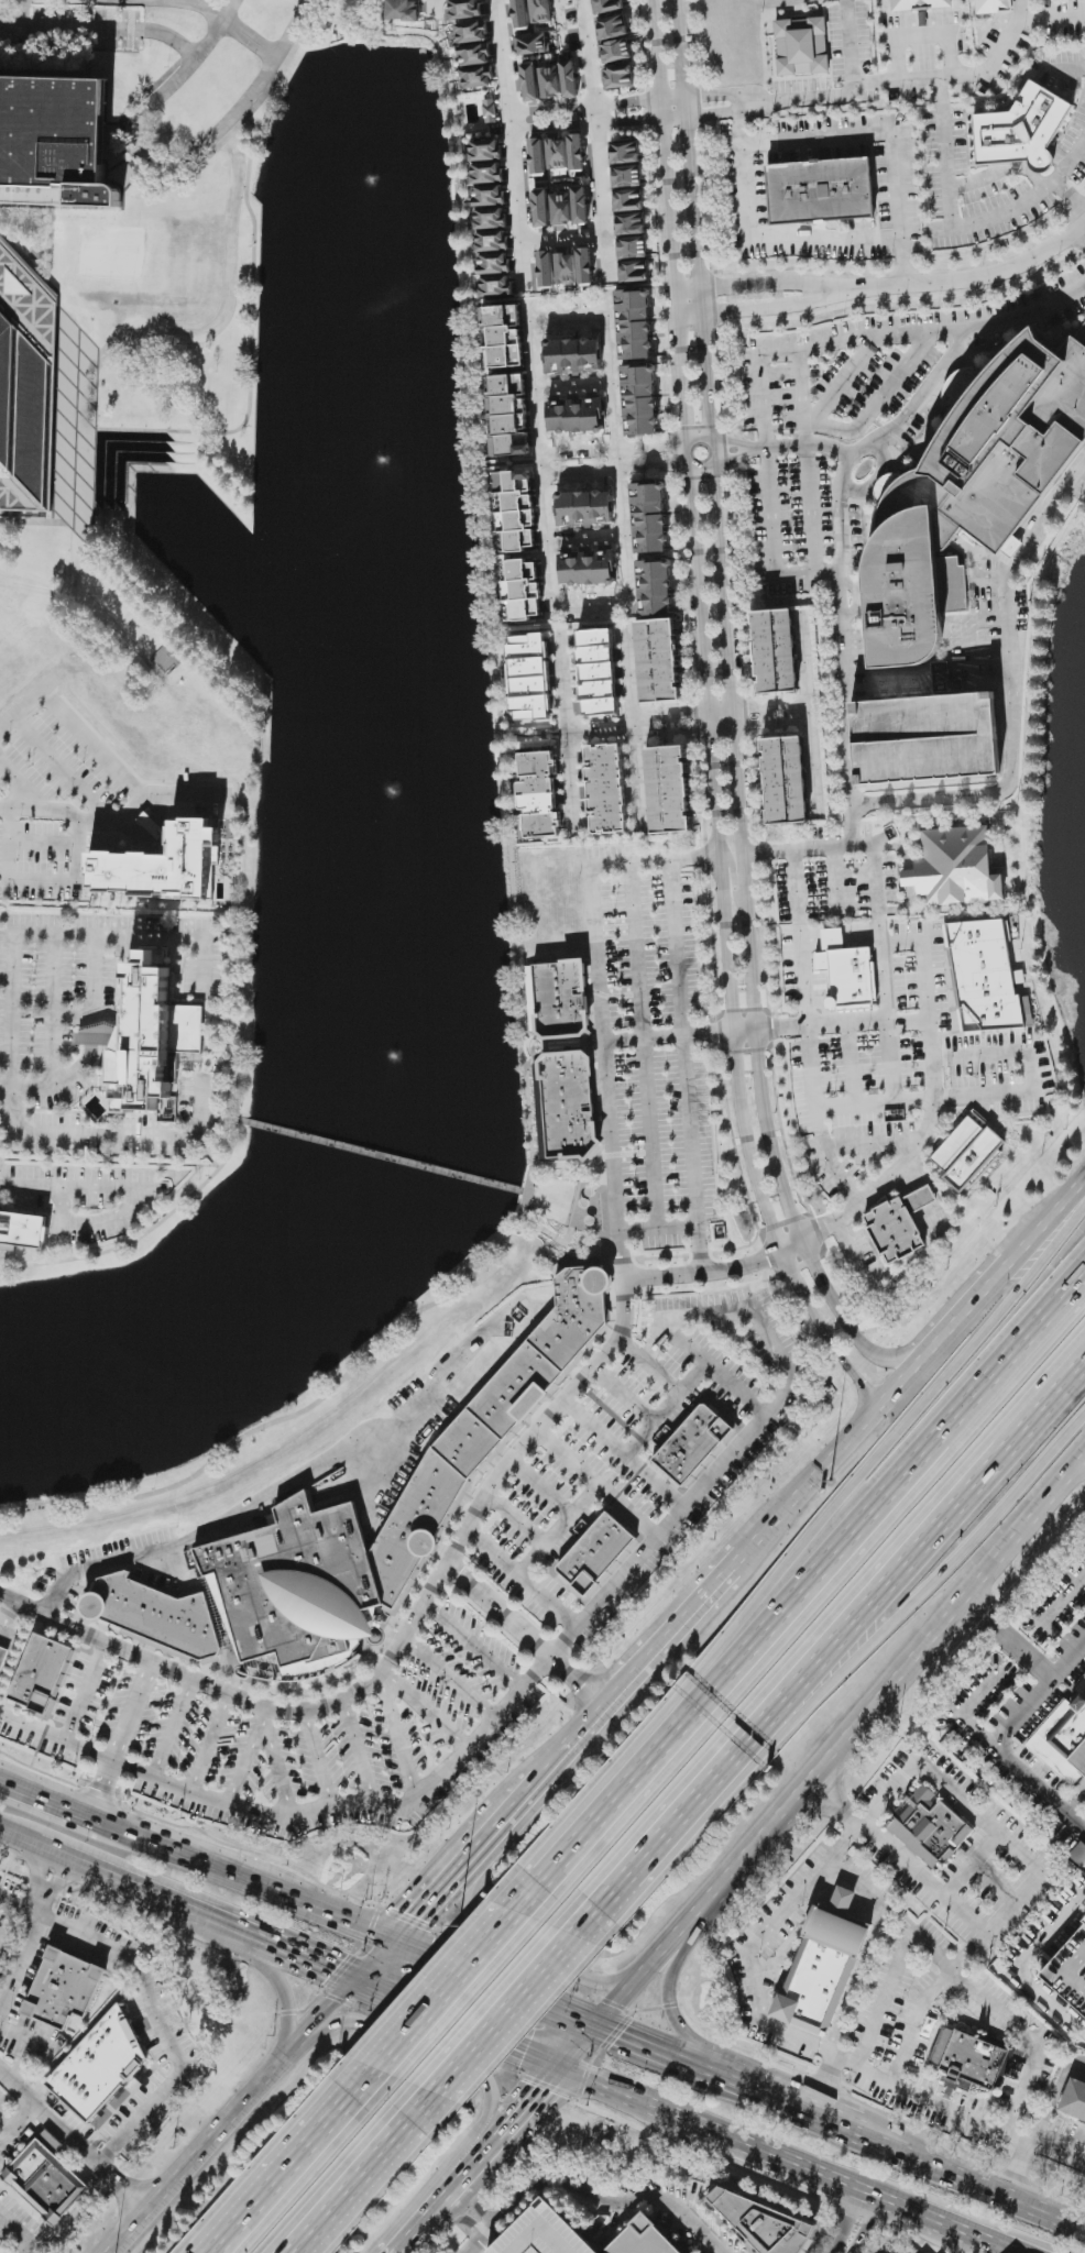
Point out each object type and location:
road: (175, 3)
building: (920, 4)
building: (607, 6)
building: (993, 6)
road: (217, 9)
building: (464, 9)
building: (404, 10)
building: (540, 11)
road: (1054, 13)
building: (522, 14)
building: (613, 28)
road: (921, 32)
road: (254, 36)
building: (533, 44)
building: (802, 46)
building: (616, 52)
building: (475, 55)
road: (588, 56)
road: (274, 66)
road: (1070, 68)
building: (478, 77)
building: (618, 77)
road: (958, 77)
building: (570, 79)
building: (550, 80)
building: (530, 81)
road: (832, 91)
road: (710, 95)
road: (513, 101)
road: (672, 106)
road: (627, 110)
building: (489, 111)
road: (712, 112)
road: (138, 119)
building: (1022, 130)
building: (54, 142)
building: (485, 151)
building: (577, 153)
building: (625, 153)
building: (557, 154)
building: (538, 156)
building: (486, 173)
building: (627, 177)
fountain: (384, 185)
building: (821, 191)
road: (602, 194)
building: (489, 196)
road: (1068, 199)
building: (628, 200)
road: (520, 201)
building: (580, 206)
building: (541, 208)
building: (561, 209)
building: (491, 218)
road: (692, 222)
road: (668, 223)
building: (631, 224)
road: (960, 227)
road: (1082, 235)
road: (565, 239)
road: (885, 239)
building: (492, 241)
building: (633, 248)
road: (902, 263)
building: (494, 264)
building: (585, 267)
building: (566, 268)
building: (546, 270)
building: (634, 272)
road: (973, 279)
building: (496, 286)
road: (760, 287)
road: (763, 310)
road: (531, 321)
building: (634, 325)
building: (504, 336)
building: (1082, 337)
building: (572, 355)
road: (842, 383)
road: (930, 389)
road: (803, 391)
road: (761, 396)
building: (18, 397)
building: (640, 399)
building: (509, 416)
building: (576, 416)
road: (807, 438)
road: (690, 449)
road: (753, 449)
road: (618, 458)
fountain: (390, 463)
building: (969, 492)
building: (517, 508)
building: (584, 508)
building: (649, 518)
road: (487, 567)
building: (588, 569)
road: (167, 573)
building: (655, 587)
building: (523, 591)
road: (591, 604)
road: (841, 648)
building: (776, 651)
building: (658, 661)
building: (598, 672)
building: (530, 678)
road: (1009, 693)
road: (720, 712)
road: (565, 719)
road: (633, 726)
road: (634, 727)
road: (721, 732)
building: (925, 738)
parking lot: (925, 738)
road: (119, 768)
road: (569, 780)
building: (785, 781)
road: (23, 783)
fountain: (388, 788)
building: (606, 789)
building: (668, 790)
building: (539, 795)
road: (17, 815)
road: (742, 856)
building: (164, 865)
road: (876, 866)
building: (955, 869)
road: (736, 870)
road: (591, 889)
road: (54, 932)
road: (801, 938)
road: (635, 952)
road: (728, 952)
building: (847, 974)
building: (987, 977)
road: (95, 980)
building: (561, 1000)
road: (54, 1009)
road: (890, 1035)
road: (94, 1037)
building: (153, 1038)
road: (850, 1038)
road: (628, 1040)
road: (810, 1042)
fountain: (392, 1053)
road: (686, 1065)
road: (1032, 1076)
road: (835, 1084)
building: (569, 1104)
road: (69, 1133)
road: (650, 1133)
road: (839, 1142)
building: (968, 1152)
road: (383, 1155)
road: (896, 1168)
road: (23, 1186)
road: (129, 1209)
road: (1051, 1219)
building: (899, 1224)
road: (658, 1227)
building: (22, 1232)
road: (147, 1232)
road: (916, 1261)
road: (976, 1303)
road: (854, 1329)
road: (651, 1342)
road: (931, 1353)
road: (650, 1365)
road: (739, 1387)
road: (623, 1397)
road: (305, 1413)
road: (662, 1414)
building: (695, 1443)
road: (570, 1455)
road: (870, 1463)
road: (831, 1464)
building: (453, 1465)
road: (709, 1476)
road: (656, 1479)
road: (542, 1487)
road: (584, 1499)
road: (240, 1508)
road: (884, 1509)
road: (516, 1518)
building: (595, 1556)
road: (912, 1569)
road: (446, 1576)
road: (703, 1582)
road: (1063, 1598)
road: (919, 1600)
road: (501, 1614)
road: (944, 1616)
building: (157, 1617)
road: (566, 1642)
road: (667, 1642)
road: (1027, 1648)
building: (3, 1658)
road: (539, 1673)
road: (576, 1675)
building: (42, 1677)
road: (452, 1678)
road: (573, 1689)
road: (86, 1692)
road: (424, 1708)
road: (399, 1733)
road: (57, 1738)
building: (1064, 1739)
road: (124, 1743)
parking lot: (339, 1743)
road: (211, 1746)
road: (571, 1746)
road: (1007, 1752)
road: (360, 1755)
road: (245, 1758)
road: (317, 1761)
road: (278, 1766)
road: (134, 1770)
road: (47, 1800)
road: (373, 1806)
road: (514, 1810)
road: (610, 1816)
road: (980, 1816)
building: (930, 1827)
road: (19, 1839)
road: (669, 1849)
road: (754, 1849)
road: (470, 1857)
road: (195, 1858)
road: (121, 1882)
road: (858, 1883)
road: (50, 1887)
road: (4, 1897)
road: (13, 1901)
road: (424, 1904)
traffic signals: (414, 1915)
road: (343, 1917)
road: (237, 1930)
road: (676, 1941)
road: (753, 1945)
road: (529, 1949)
traffic signals: (429, 1956)
road: (311, 1958)
road: (373, 1958)
road: (957, 1963)
road: (1022, 1964)
road: (19, 1968)
traffic signals: (333, 1968)
building: (824, 1968)
building: (1070, 1972)
road: (895, 1976)
road: (461, 1981)
road: (496, 1986)
road: (855, 1987)
building: (64, 1989)
road: (629, 1998)
road: (671, 2001)
road: (286, 2003)
road: (329, 2008)
road: (524, 2010)
road: (461, 2023)
road: (161, 2027)
traffic signals: (620, 2038)
road: (1026, 2040)
road: (585, 2052)
traffic signals: (527, 2053)
road: (660, 2055)
building: (969, 2059)
road: (445, 2060)
building: (100, 2066)
traffic signals: (548, 2092)
road: (623, 2095)
road: (542, 2098)
building: (1075, 2101)
road: (789, 2108)
road: (958, 2112)
road: (56, 2122)
road: (19, 2123)
road: (1053, 2140)
road: (207, 2146)
road: (492, 2154)
road: (768, 2156)
road: (296, 2161)
road: (1015, 2168)
road: (379, 2170)
building: (46, 2179)
road: (973, 2183)
road: (132, 2192)
road: (457, 2194)
road: (632, 2201)
road: (884, 2203)
road: (478, 2209)
road: (73, 2218)
road: (504, 2220)
road: (465, 2223)
building: (764, 2223)
road: (846, 2223)
road: (867, 2228)
road: (424, 2229)
road: (950, 2230)
road: (19, 2233)
building: (544, 2234)
parking garage: (544, 2234)
building: (636, 2239)
road: (997, 2250)

